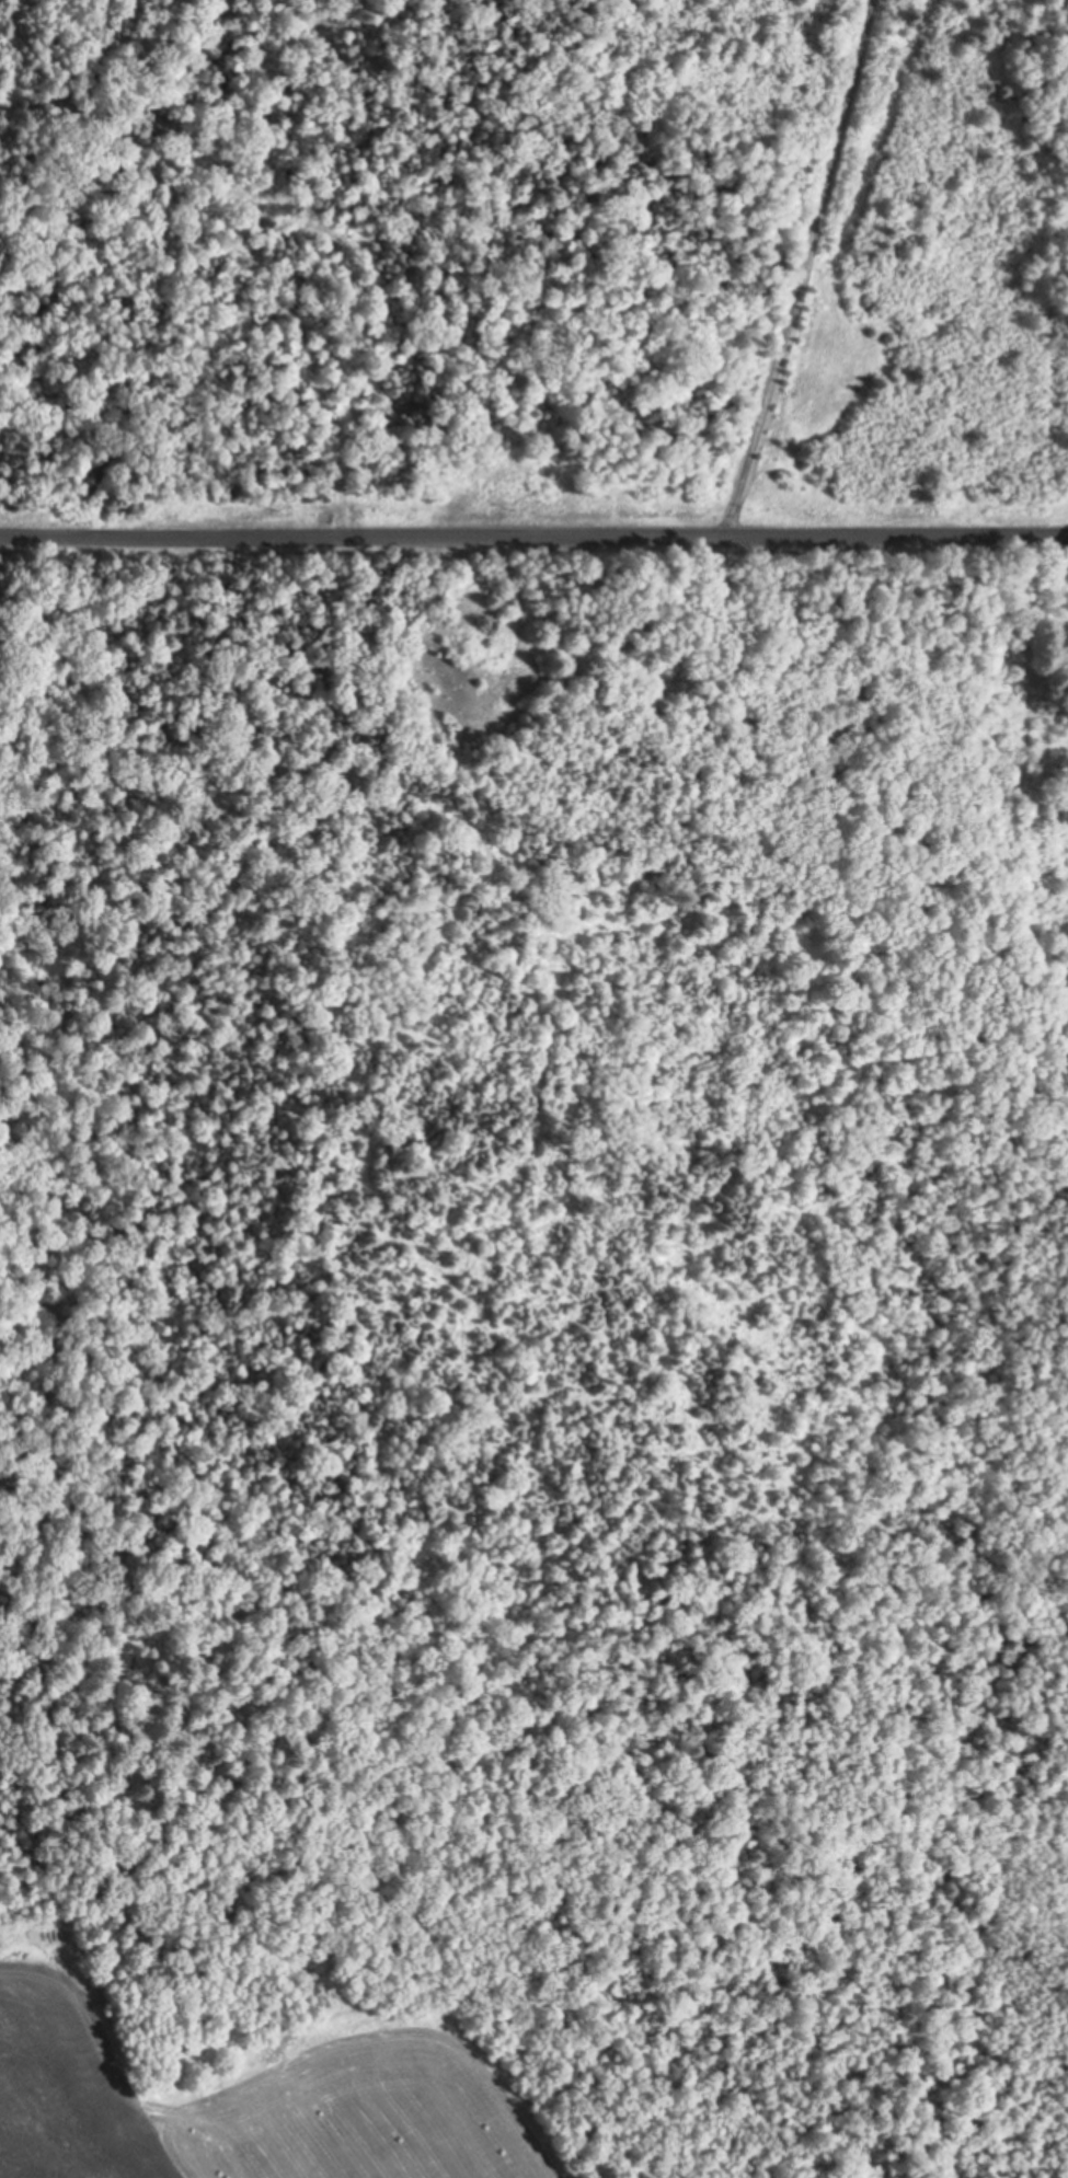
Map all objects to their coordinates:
road: (802, 269)
road: (533, 535)

